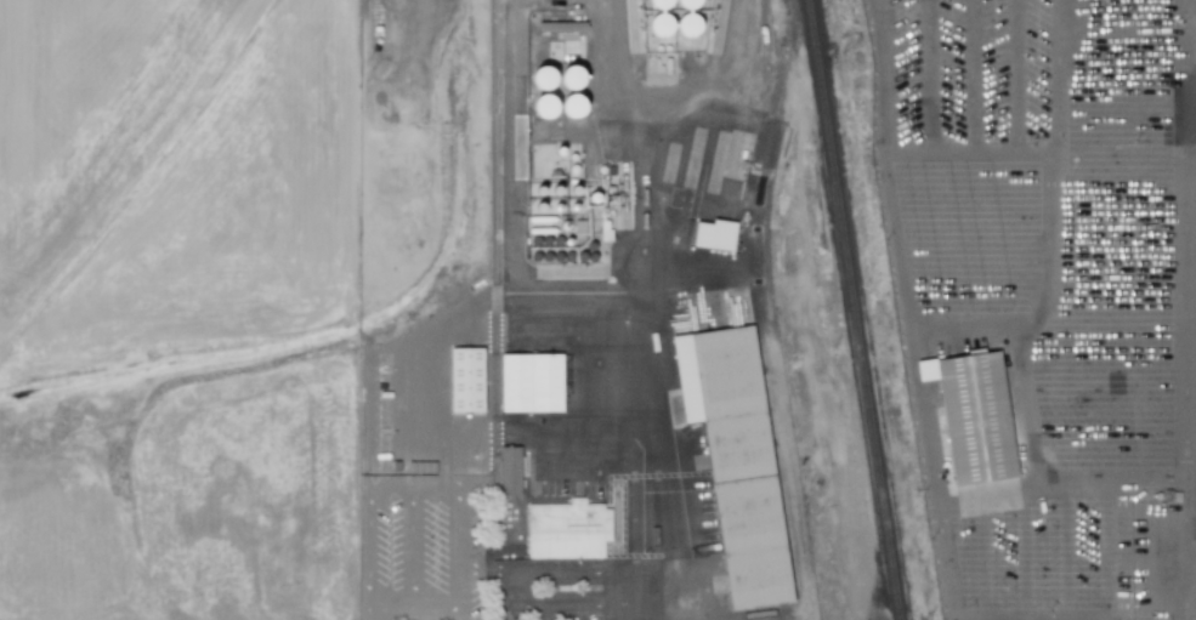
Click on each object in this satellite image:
building: (661, 4)
building: (687, 4)
road: (619, 6)
road: (424, 23)
building: (687, 24)
building: (661, 25)
road: (1126, 25)
building: (561, 27)
building: (544, 78)
building: (571, 78)
road: (1126, 78)
road: (709, 79)
building: (544, 106)
building: (571, 106)
road: (1126, 127)
road: (630, 136)
road: (509, 147)
road: (967, 152)
road: (1054, 152)
railway: (763, 182)
road: (140, 188)
building: (713, 234)
road: (610, 295)
railway: (855, 309)
road: (903, 309)
road: (979, 323)
road: (1181, 372)
building: (465, 380)
building: (531, 382)
road: (1024, 398)
building: (973, 415)
road: (588, 445)
building: (737, 460)
building: (509, 470)
road: (1107, 484)
road: (455, 491)
building: (567, 529)
road: (1025, 548)
road: (410, 550)
road: (1107, 552)
road: (515, 573)
road: (620, 610)
road: (376, 614)

